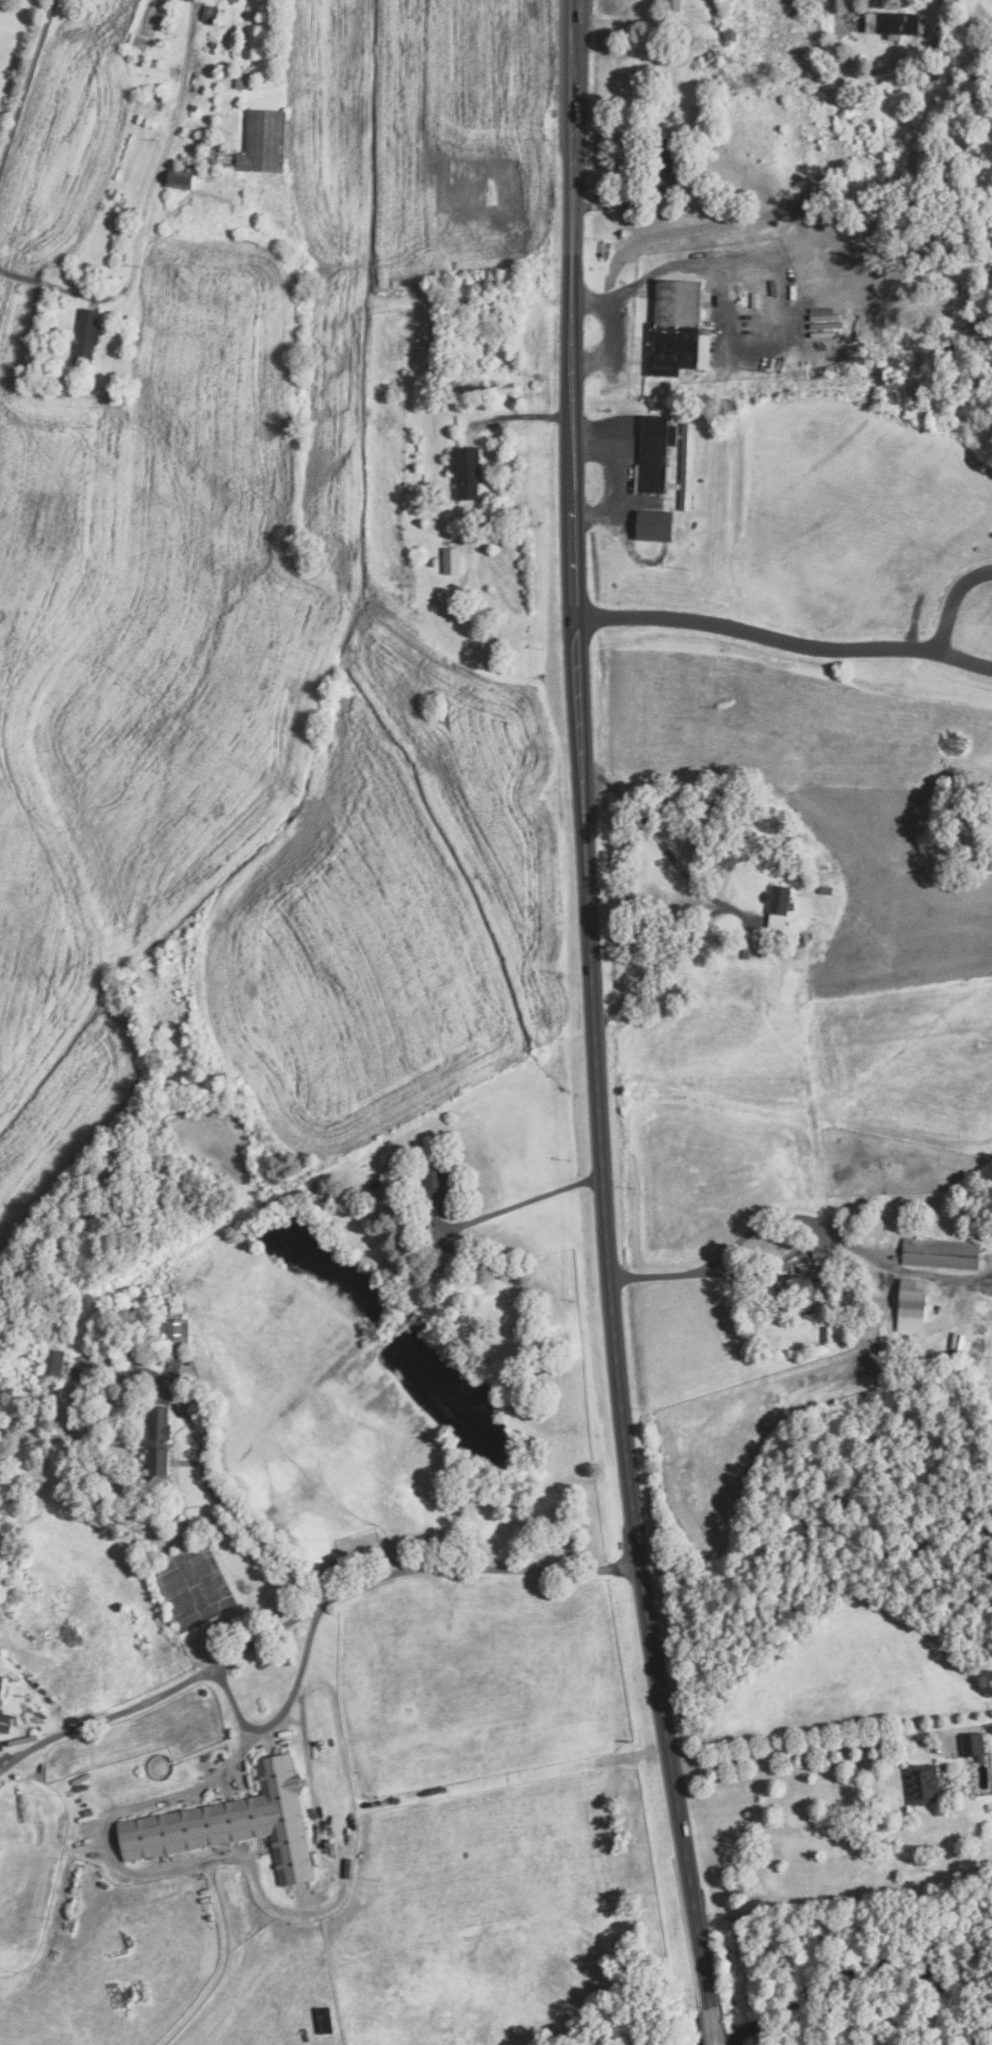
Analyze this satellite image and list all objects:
building: (673, 5)
building: (209, 14)
building: (892, 23)
building: (254, 26)
building: (727, 34)
building: (213, 45)
building: (212, 51)
building: (711, 59)
building: (728, 60)
road: (880, 68)
building: (242, 78)
building: (933, 78)
road: (25, 81)
building: (193, 107)
building: (264, 142)
road: (163, 151)
building: (917, 155)
building: (666, 164)
building: (181, 180)
building: (674, 331)
road: (612, 334)
building: (86, 336)
road: (522, 415)
building: (653, 451)
building: (683, 465)
building: (467, 472)
road: (617, 477)
building: (653, 501)
building: (653, 528)
park: (842, 559)
building: (451, 561)
building: (433, 562)
road: (942, 630)
road: (756, 636)
crop: (275, 643)
crop: (852, 872)
building: (825, 890)
road: (712, 897)
building: (779, 898)
building: (745, 950)
building: (805, 953)
road: (596, 1007)
building: (433, 1192)
road: (524, 1196)
building: (873, 1227)
building: (820, 1253)
building: (940, 1254)
road: (794, 1255)
building: (800, 1286)
building: (912, 1301)
building: (172, 1331)
building: (827, 1333)
building: (53, 1362)
building: (158, 1447)
building: (951, 1517)
road: (244, 1525)
road: (305, 1611)
building: (1, 1682)
road: (279, 1712)
building: (4, 1719)
road: (949, 1730)
building: (973, 1744)
road: (802, 1745)
building: (924, 1784)
building: (233, 1825)
road: (154, 1873)
road: (715, 2026)

